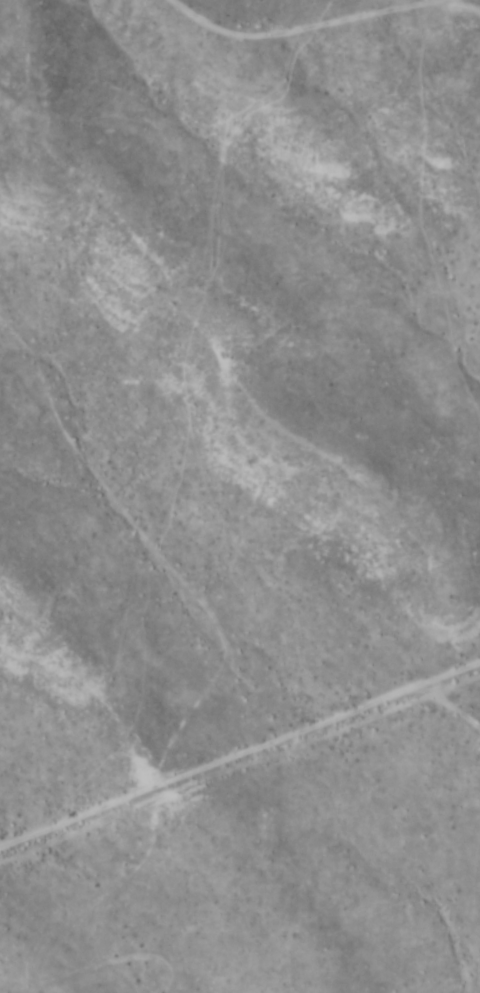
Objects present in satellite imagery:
crop: (240, 496)
road: (239, 755)

